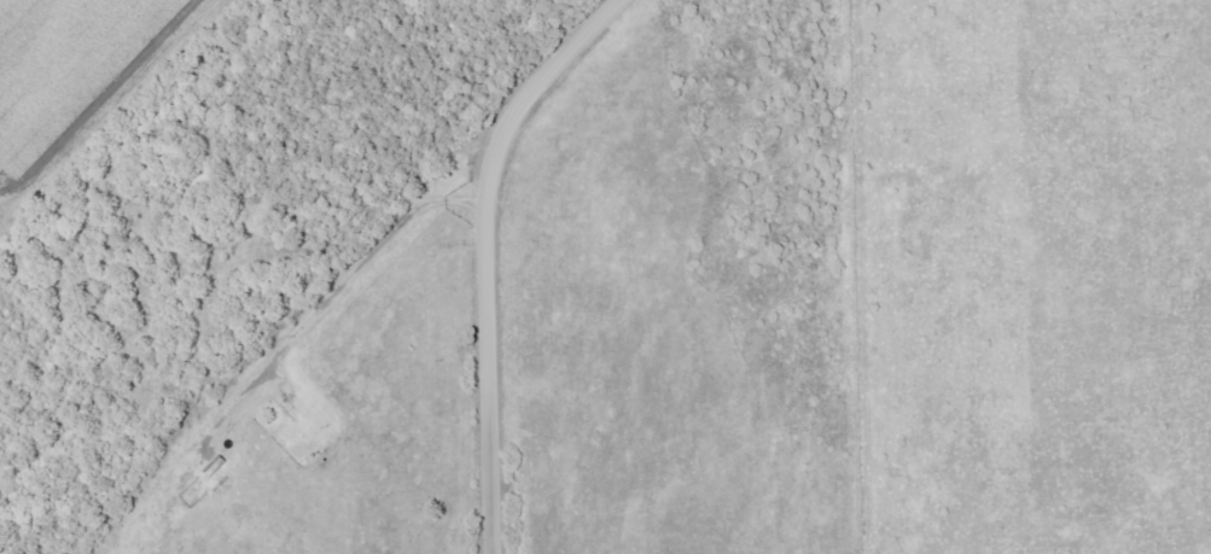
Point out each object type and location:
road: (489, 252)
road: (293, 338)

